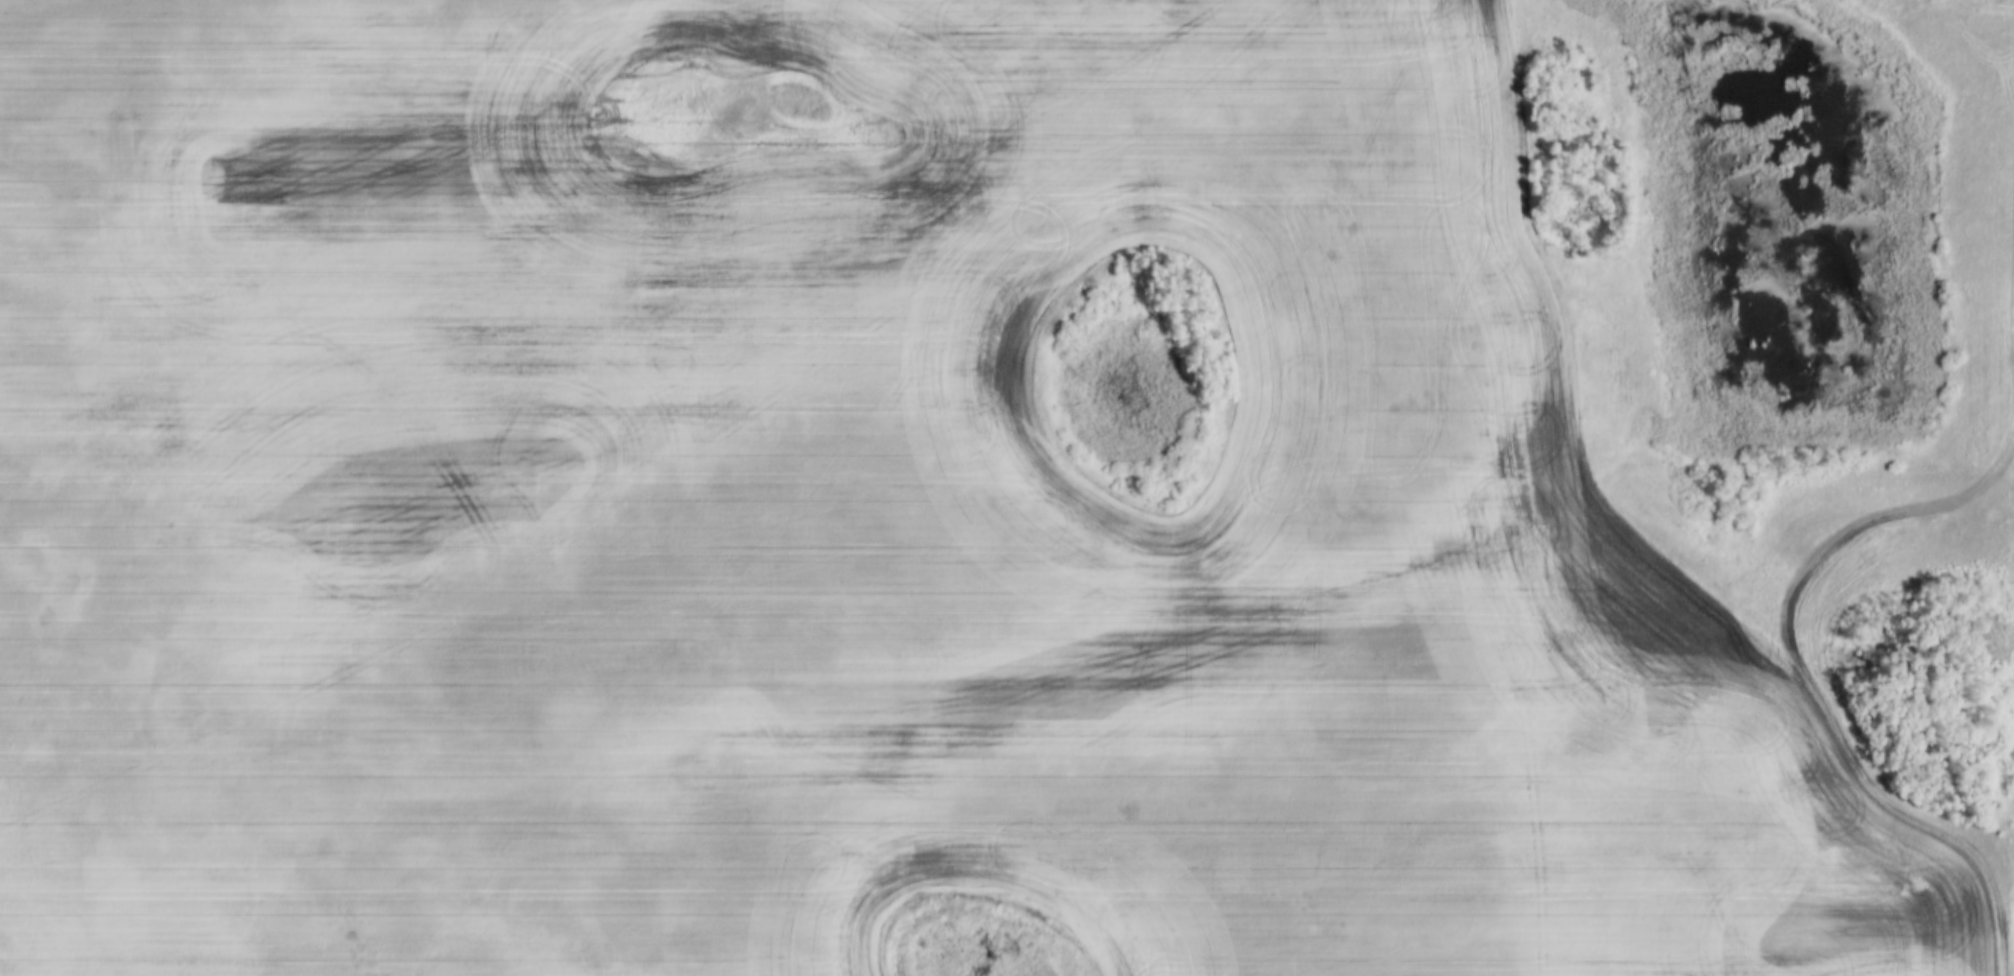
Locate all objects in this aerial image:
road: (1833, 689)

